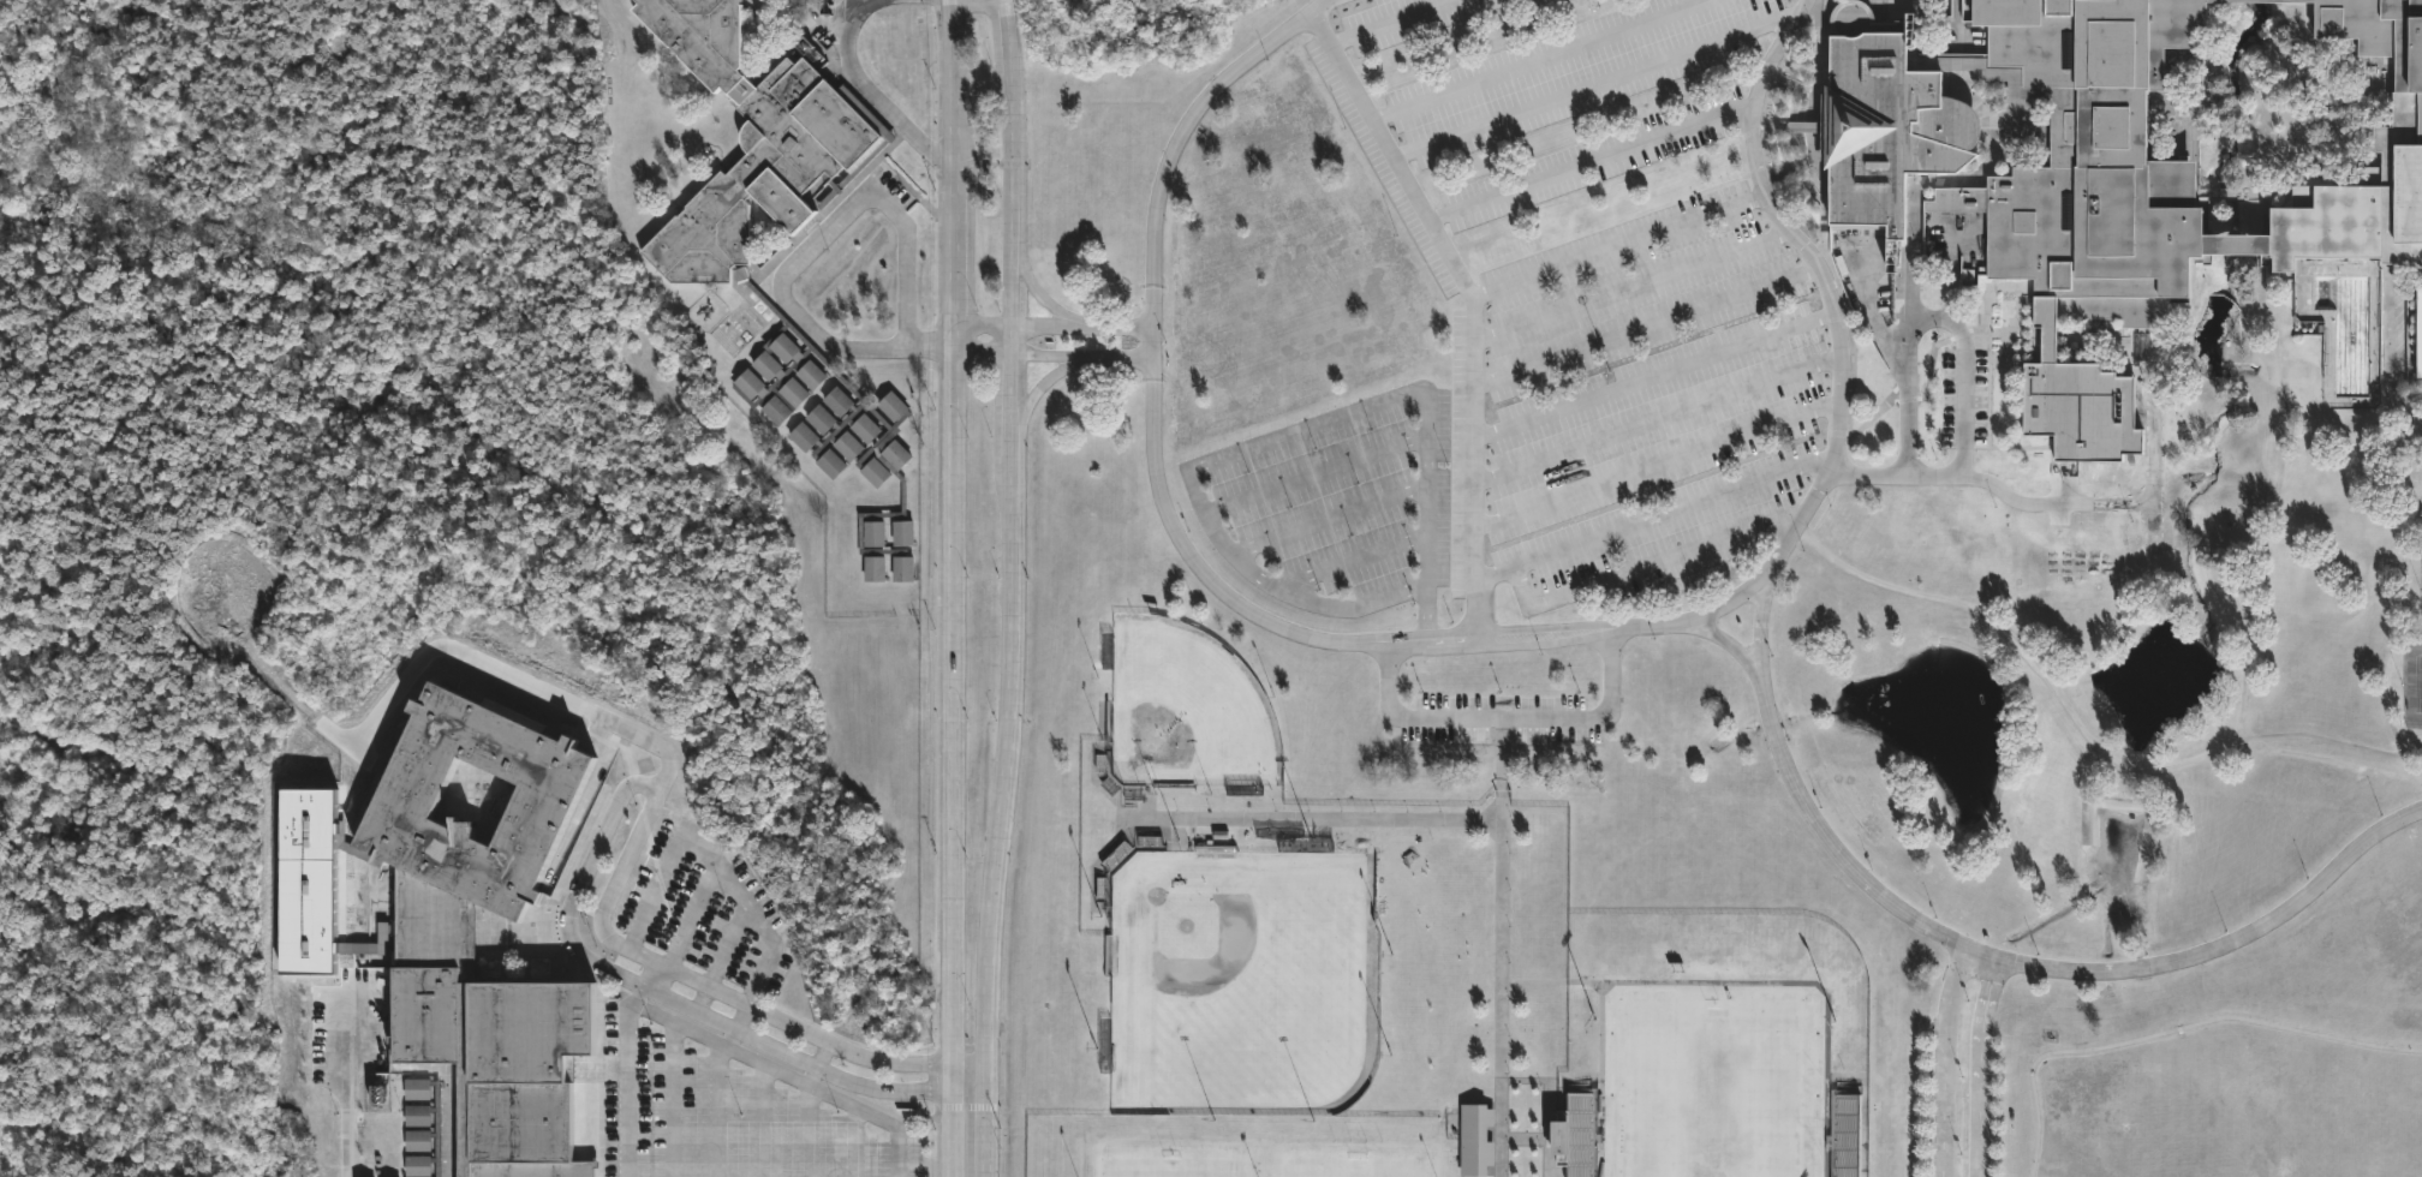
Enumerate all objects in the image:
building: (2259, 0)
road: (871, 1)
road: (860, 2)
building: (1857, 20)
road: (1386, 22)
road: (1545, 60)
road: (1599, 85)
road: (866, 90)
building: (1885, 131)
building: (2397, 141)
road: (1591, 163)
building: (2089, 163)
road: (810, 246)
road: (1619, 246)
building: (2236, 246)
road: (1639, 287)
road: (1043, 294)
building: (768, 304)
road: (1475, 306)
road: (1934, 319)
road: (1081, 322)
parking lot: (1549, 322)
road: (982, 324)
road: (1651, 324)
building: (2420, 334)
parking lot: (2392, 340)
road: (1080, 353)
road: (983, 354)
road: (2391, 359)
road: (1662, 374)
road: (1049, 380)
parking lot: (1964, 399)
building: (2081, 412)
road: (1660, 420)
road: (1283, 435)
road: (2009, 449)
road: (1659, 466)
road: (1962, 473)
road: (1313, 476)
road: (2065, 484)
road: (1330, 520)
road: (1654, 522)
road: (1354, 562)
road: (953, 587)
road: (1012, 588)
road: (2398, 615)
road: (2410, 615)
road: (1760, 634)
road: (1475, 644)
road: (1737, 647)
park: (2107, 676)
park: (2418, 686)
park: (1185, 715)
parking lot: (1499, 719)
road: (1508, 722)
road: (2182, 769)
road: (622, 796)
building: (542, 803)
road: (1312, 818)
building: (1295, 848)
parking lot: (708, 910)
road: (682, 922)
building: (434, 928)
road: (1502, 949)
road: (727, 952)
road: (2041, 968)
park: (1235, 981)
road: (1552, 984)
road: (1810, 985)
road: (2171, 1030)
road: (1941, 1059)
building: (501, 1065)
road: (968, 1065)
road: (1977, 1065)
road: (1603, 1080)
park: (1713, 1085)
road: (352, 1091)
road: (681, 1092)
road: (968, 1093)
road: (728, 1103)
road: (769, 1111)
road: (853, 1117)
parking lot: (734, 1122)
road: (807, 1122)
road: (896, 1128)
building: (1844, 1129)
building: (1574, 1134)
building: (1478, 1140)
park: (1175, 1166)
park: (1353, 1167)

